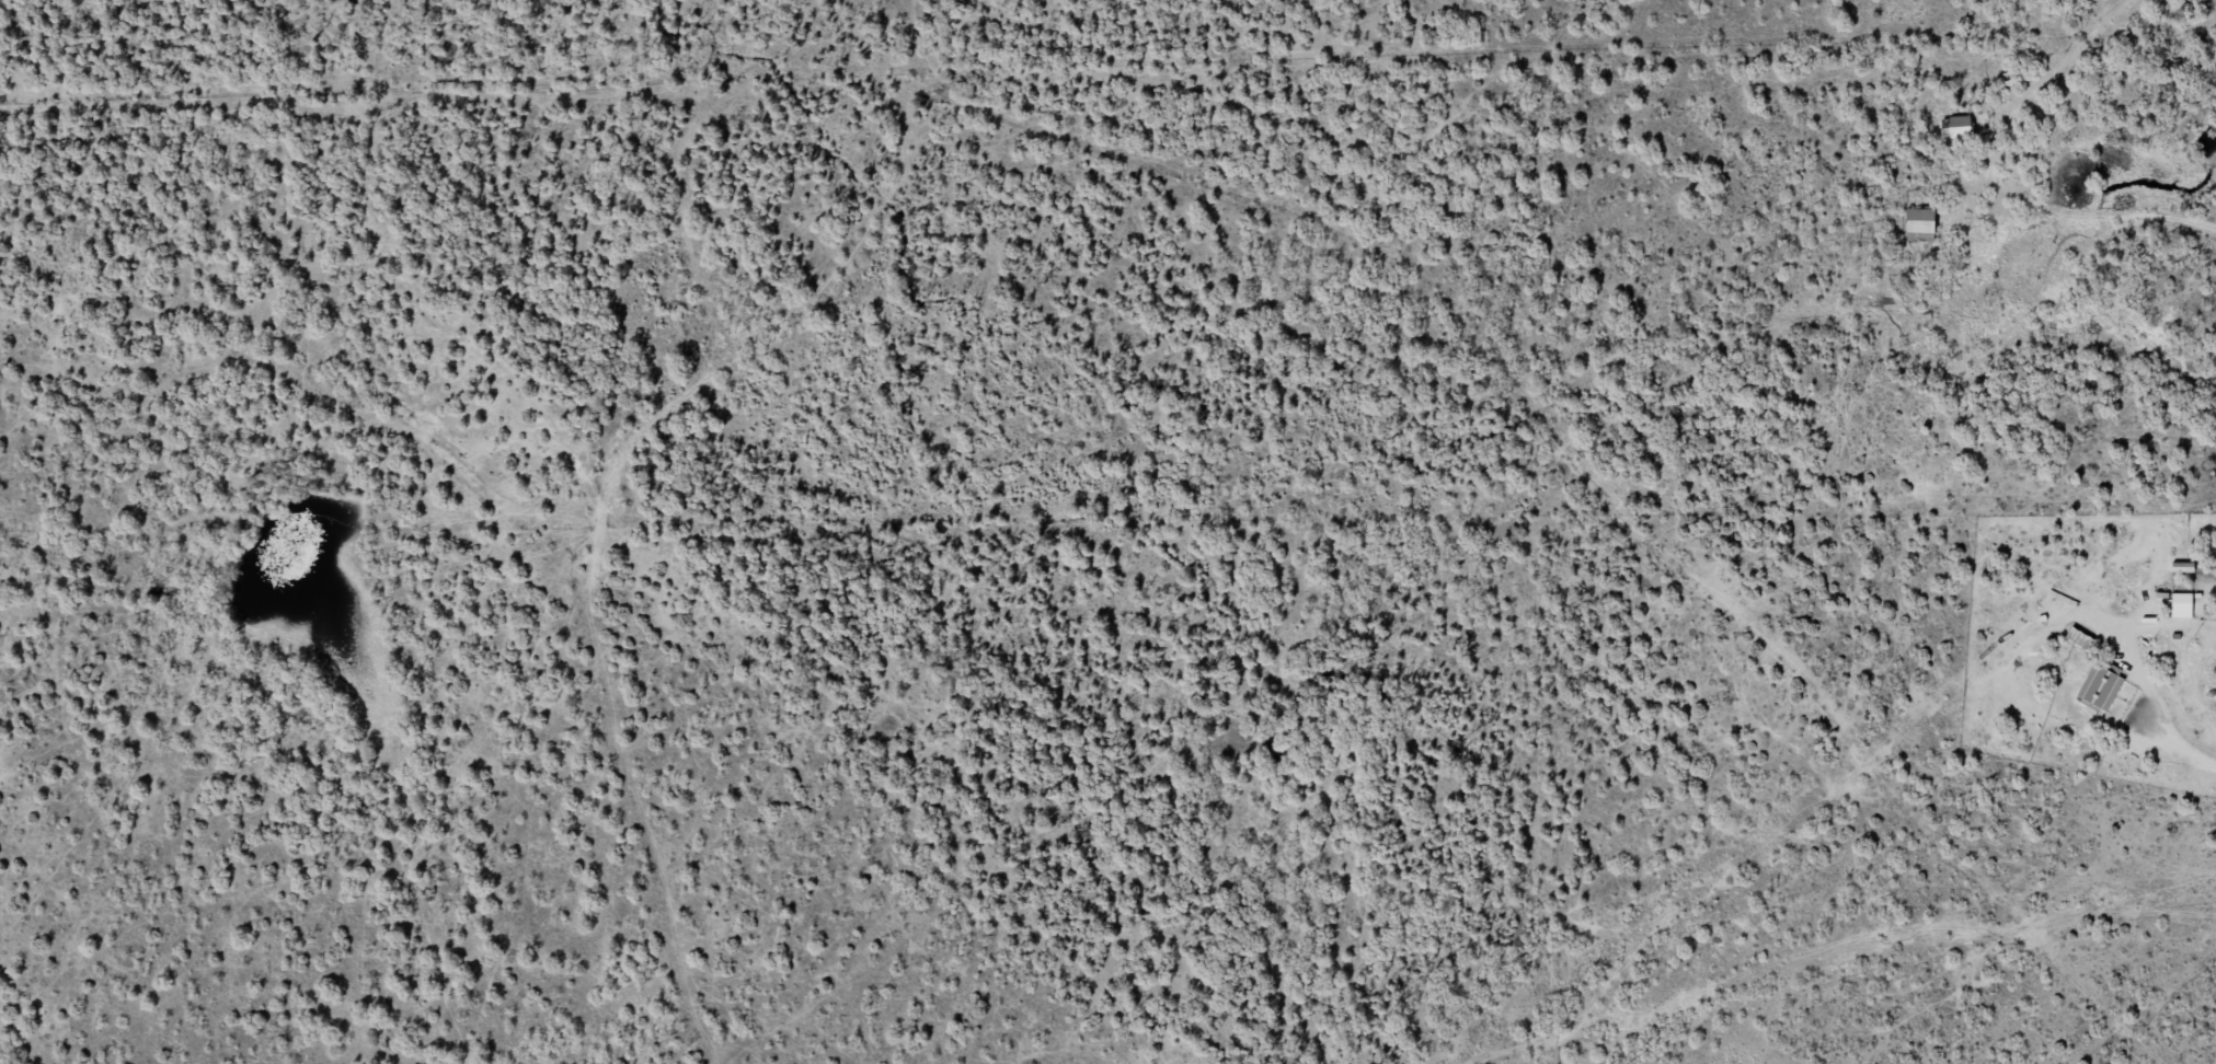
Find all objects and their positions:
building: (1957, 128)
building: (1921, 221)
road: (594, 509)
road: (1677, 1005)

